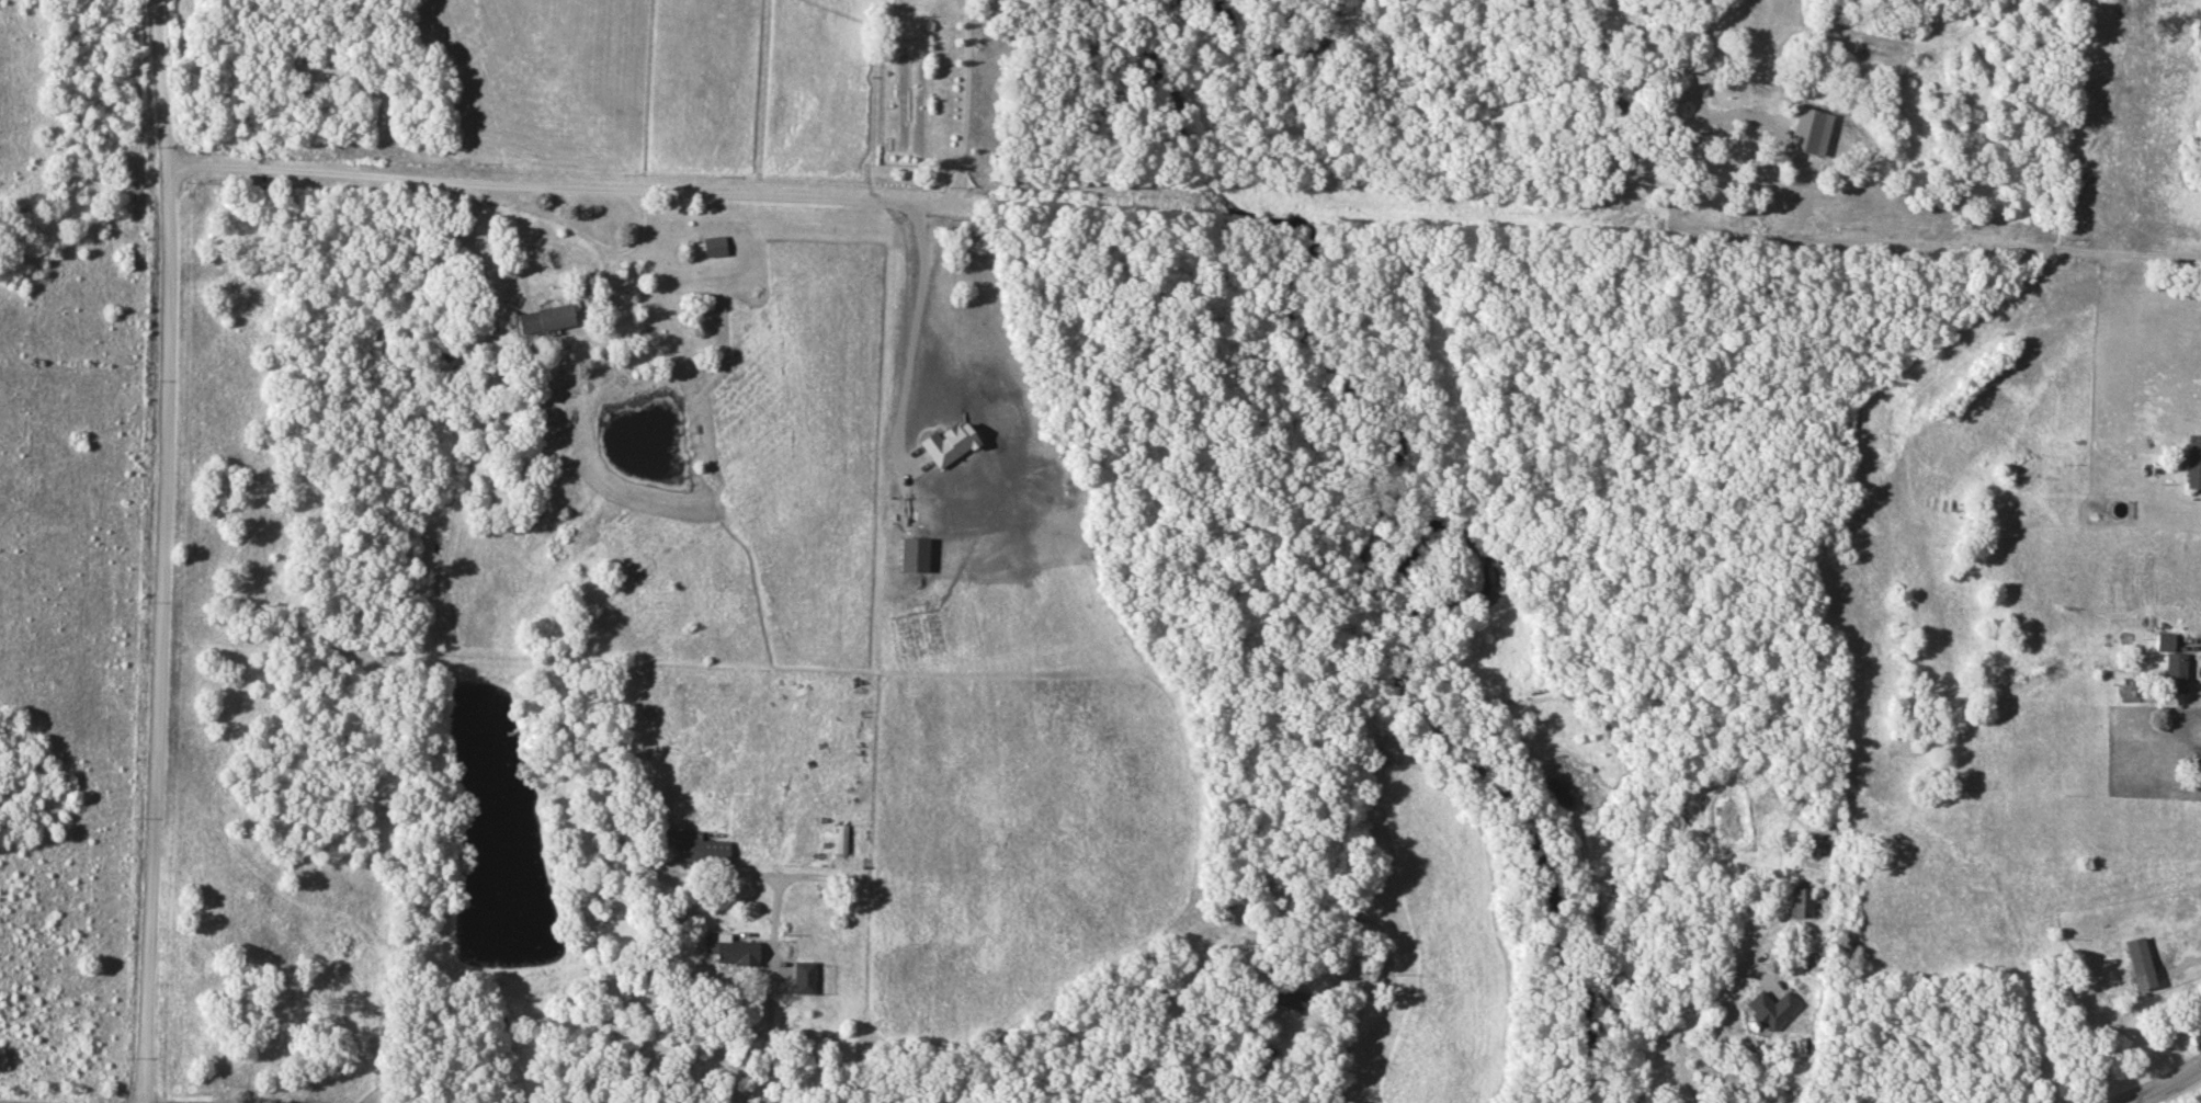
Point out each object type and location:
building: (1663, 27)
road: (965, 110)
building: (1706, 181)
road: (548, 189)
road: (515, 229)
road: (1564, 238)
building: (712, 246)
building: (541, 319)
road: (912, 325)
building: (2192, 460)
road: (161, 550)
road: (2192, 648)
building: (2170, 664)
building: (839, 839)
building: (695, 848)
road: (775, 875)
building: (1800, 902)
building: (2045, 925)
building: (1350, 937)
building: (733, 952)
road: (2188, 962)
building: (2135, 965)
road: (1342, 974)
building: (802, 978)
road: (770, 989)
building: (1282, 997)
road: (1686, 1024)
road: (1329, 1084)
road: (2163, 1087)

